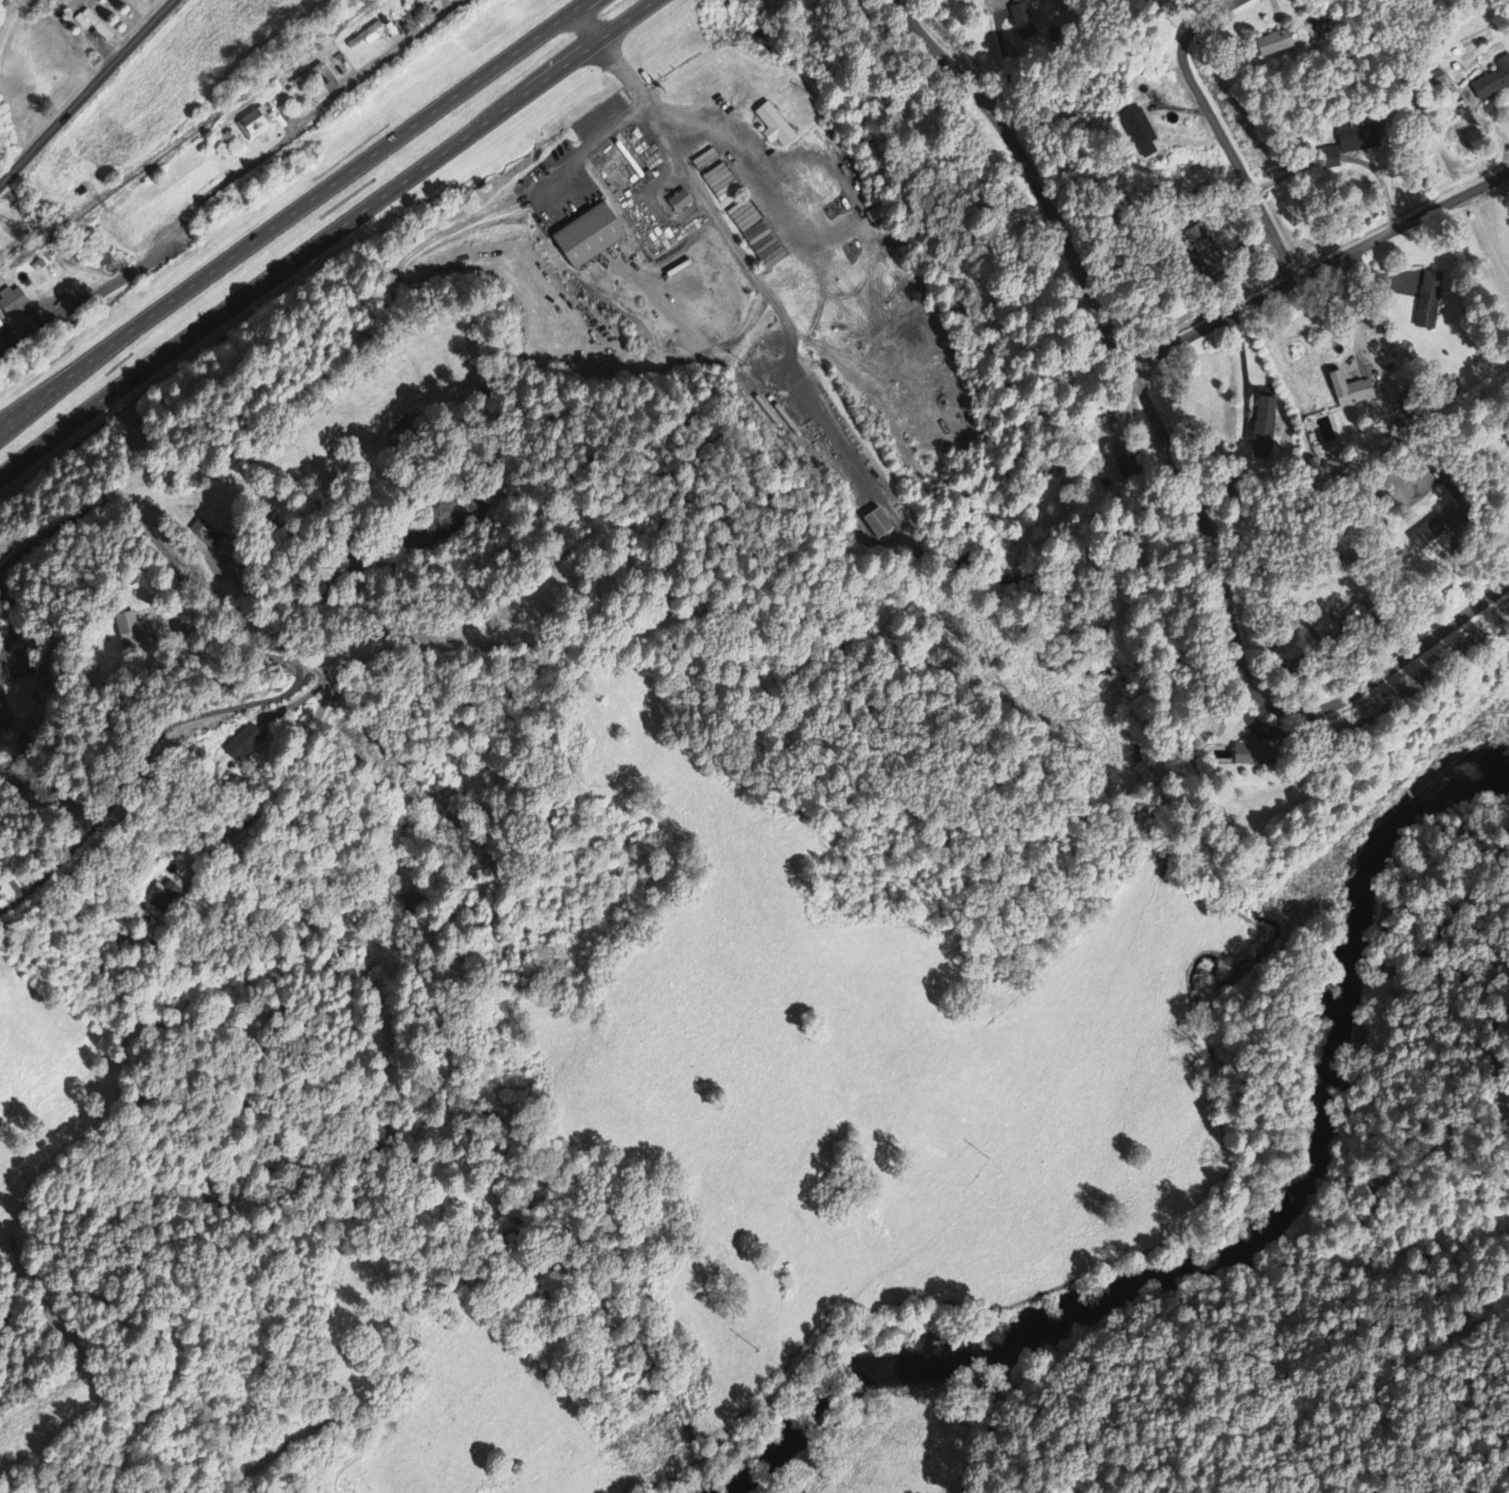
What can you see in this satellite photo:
road: (591, 19)
building: (1020, 21)
building: (92, 26)
building: (366, 34)
building: (1272, 43)
road: (630, 73)
building: (1492, 80)
road: (87, 92)
building: (253, 124)
building: (772, 125)
road: (1220, 128)
building: (1138, 133)
railway: (185, 135)
building: (1345, 143)
road: (11, 152)
road: (1030, 173)
road: (232, 176)
building: (678, 201)
road: (291, 212)
building: (586, 236)
road: (324, 237)
building: (1202, 249)
road: (1318, 266)
building: (1427, 301)
building: (12, 303)
building: (0, 327)
building: (1347, 390)
building: (1263, 428)
building: (877, 524)
building: (200, 531)
building: (1315, 622)
building: (133, 631)
road: (1247, 668)
building: (244, 743)
building: (1248, 755)
power tower: (1308, 890)
building: (167, 893)
power tower: (978, 1175)
river: (1248, 1259)

